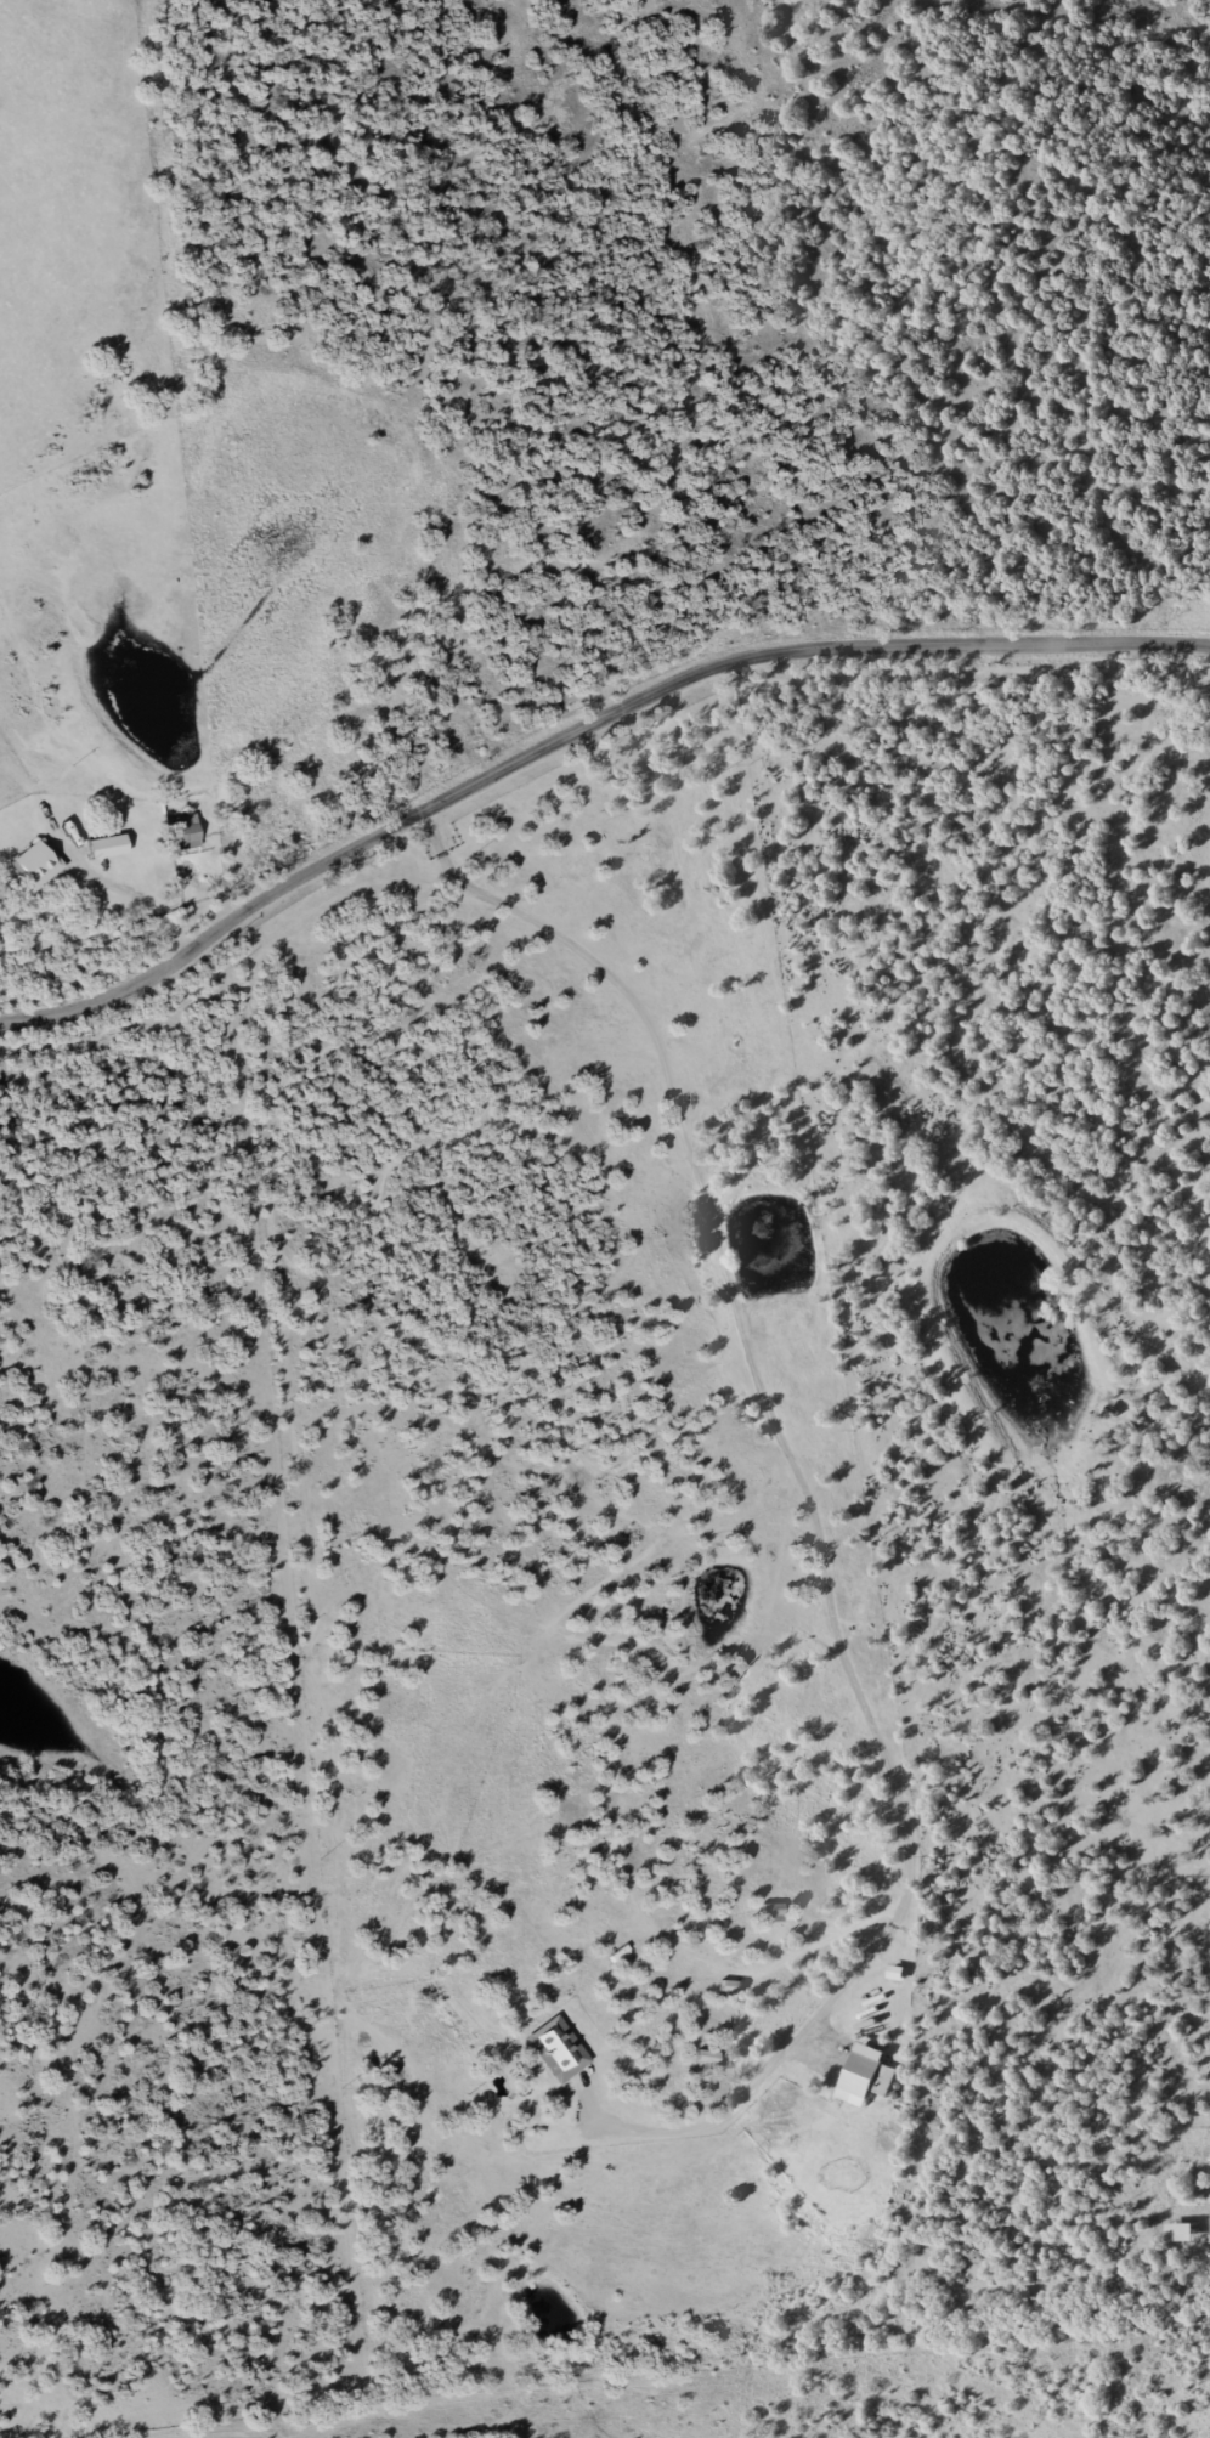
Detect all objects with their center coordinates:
road: (576, 728)
building: (181, 831)
building: (104, 847)
building: (34, 864)
road: (136, 906)
building: (555, 2050)
building: (858, 2074)
building: (1177, 2231)

